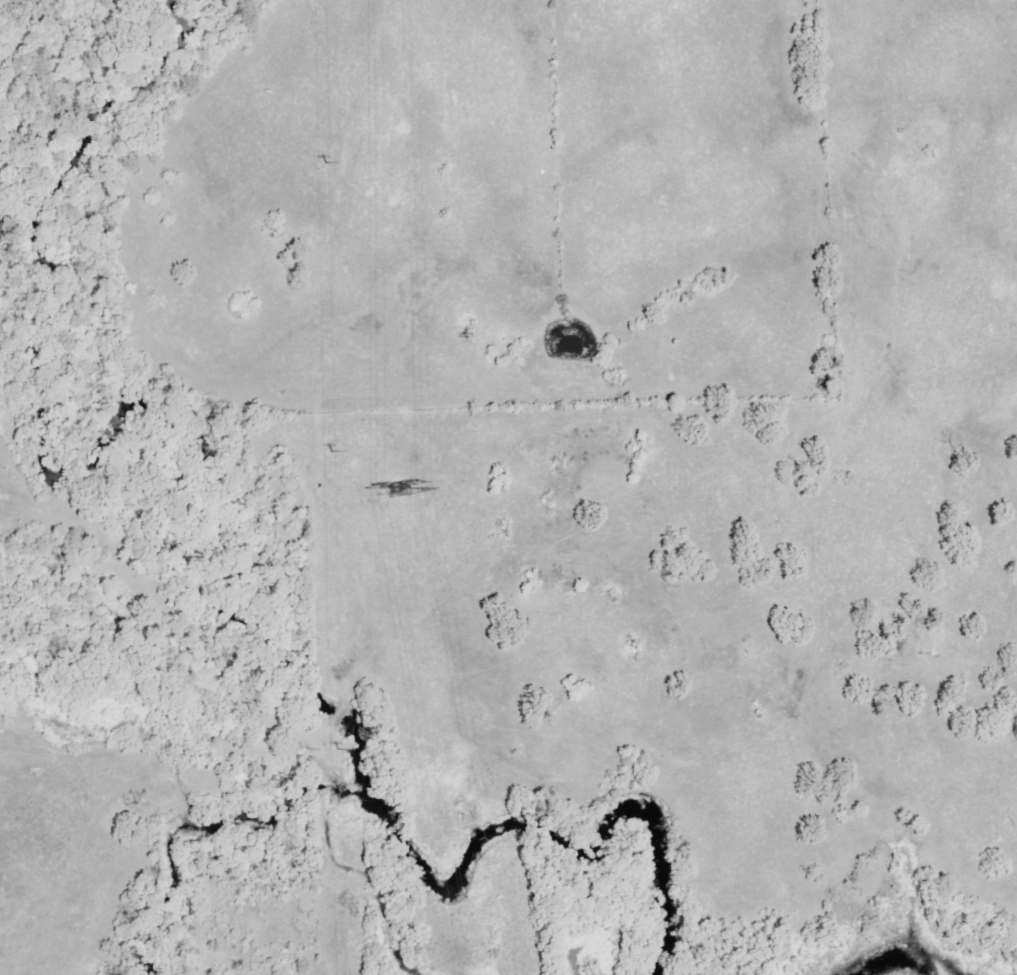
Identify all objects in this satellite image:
power tower: (322, 163)
power tower: (329, 452)
power tower: (398, 491)
power tower: (333, 750)

